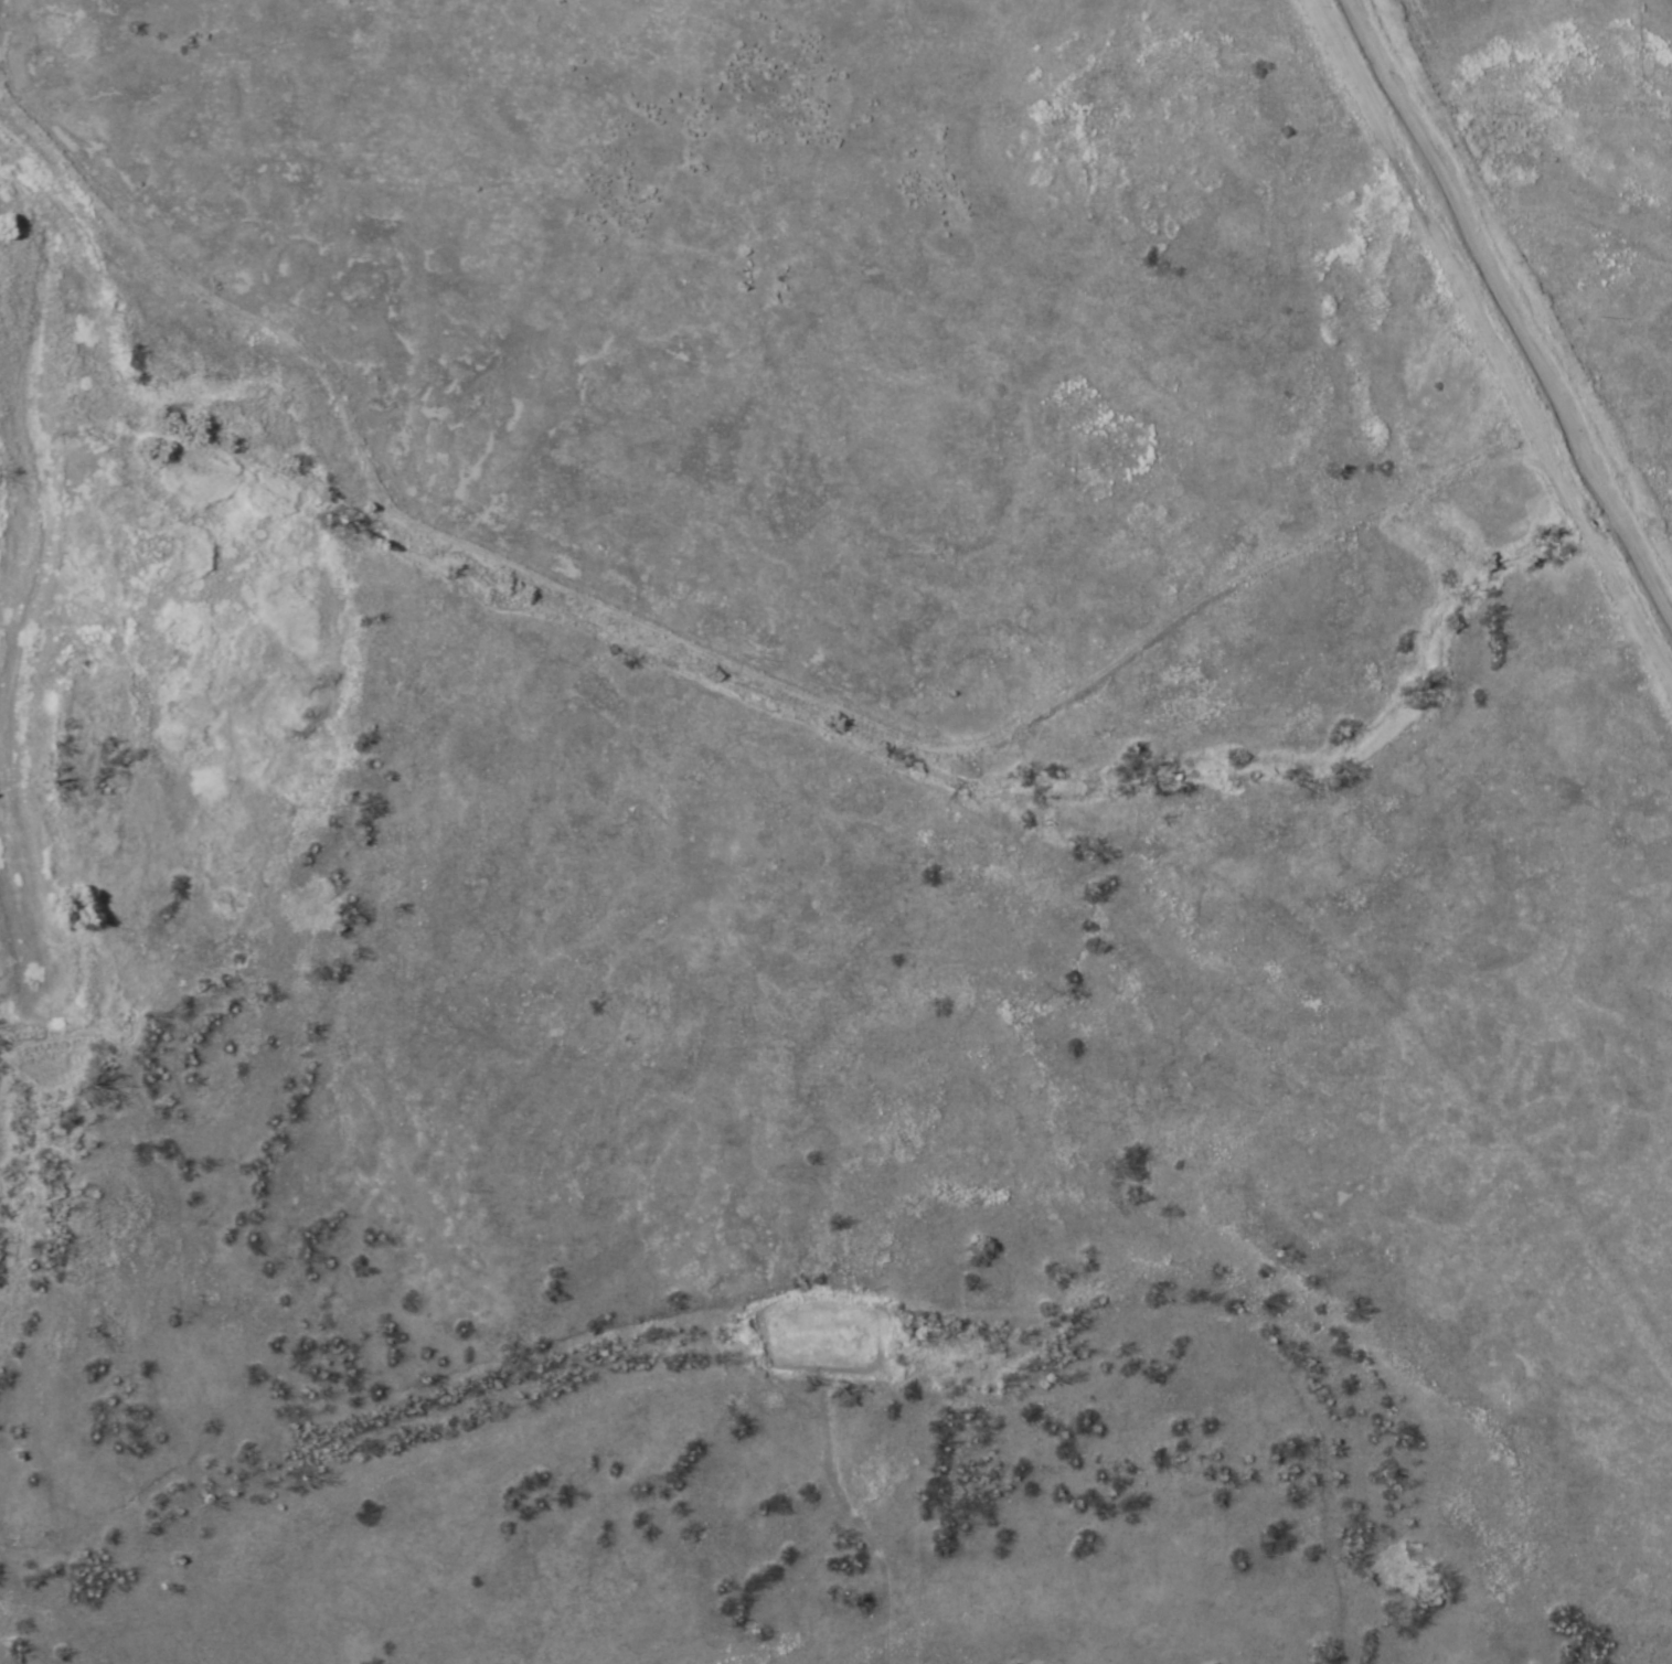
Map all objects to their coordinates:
road: (1583, 175)
road: (1487, 366)

